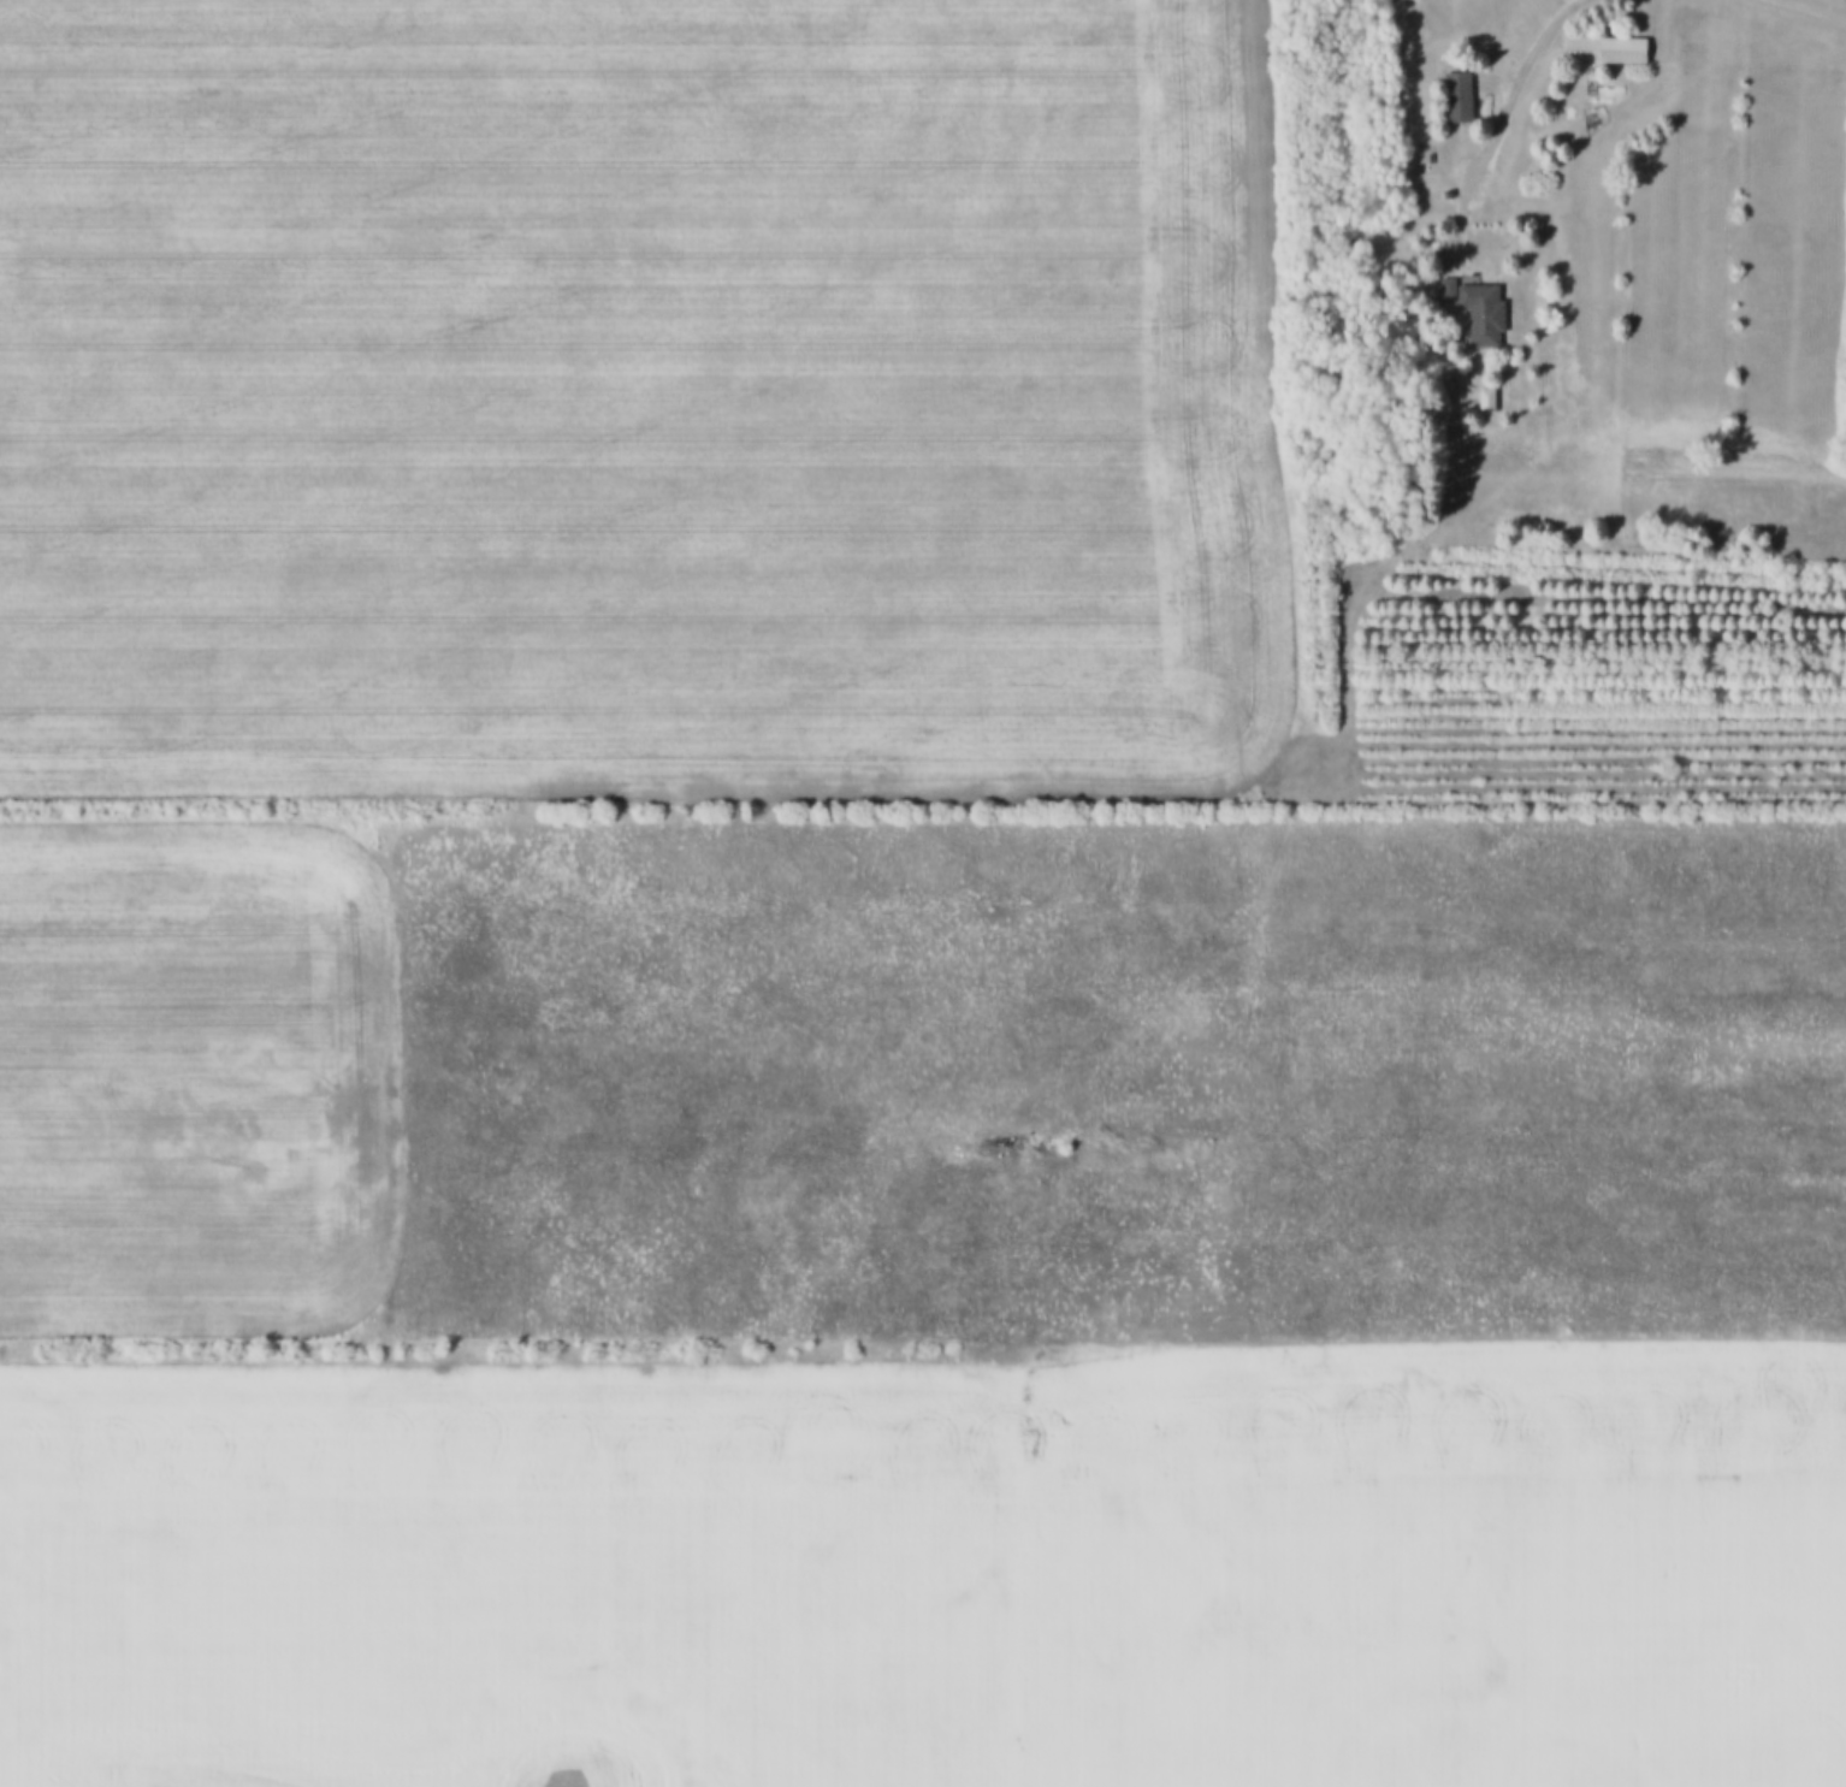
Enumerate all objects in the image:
road: (1815, 7)
building: (1623, 52)
road: (1513, 90)
building: (1456, 100)
building: (1478, 313)

